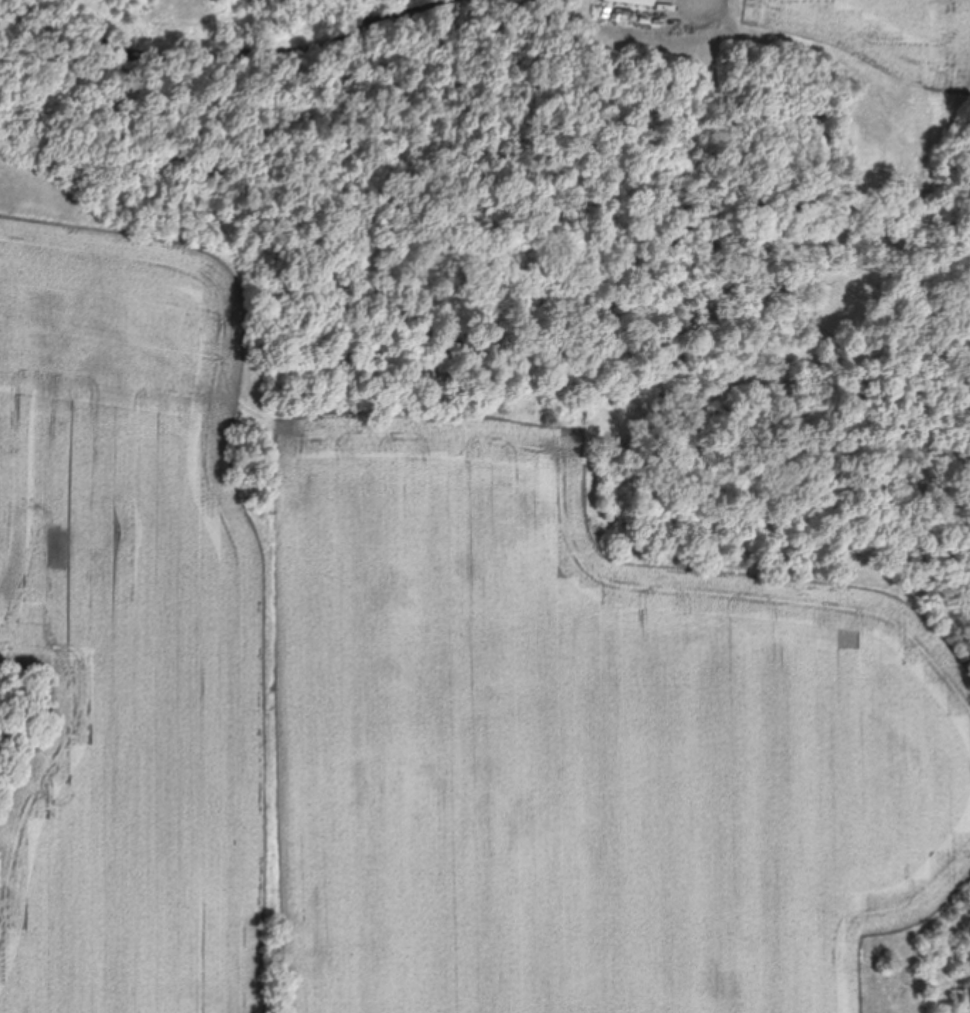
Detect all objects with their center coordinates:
building: (636, 2)

